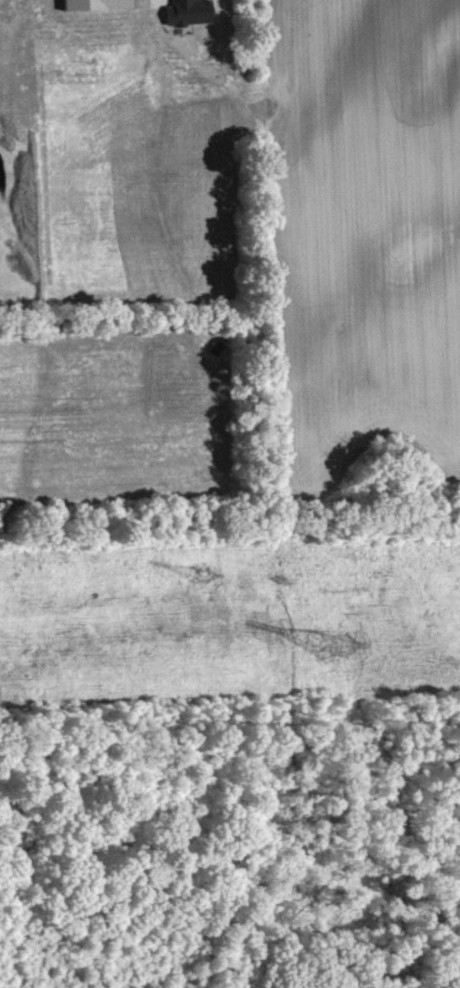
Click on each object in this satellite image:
building: (100, 4)
building: (192, 12)
power tower: (200, 574)
power tower: (331, 643)

